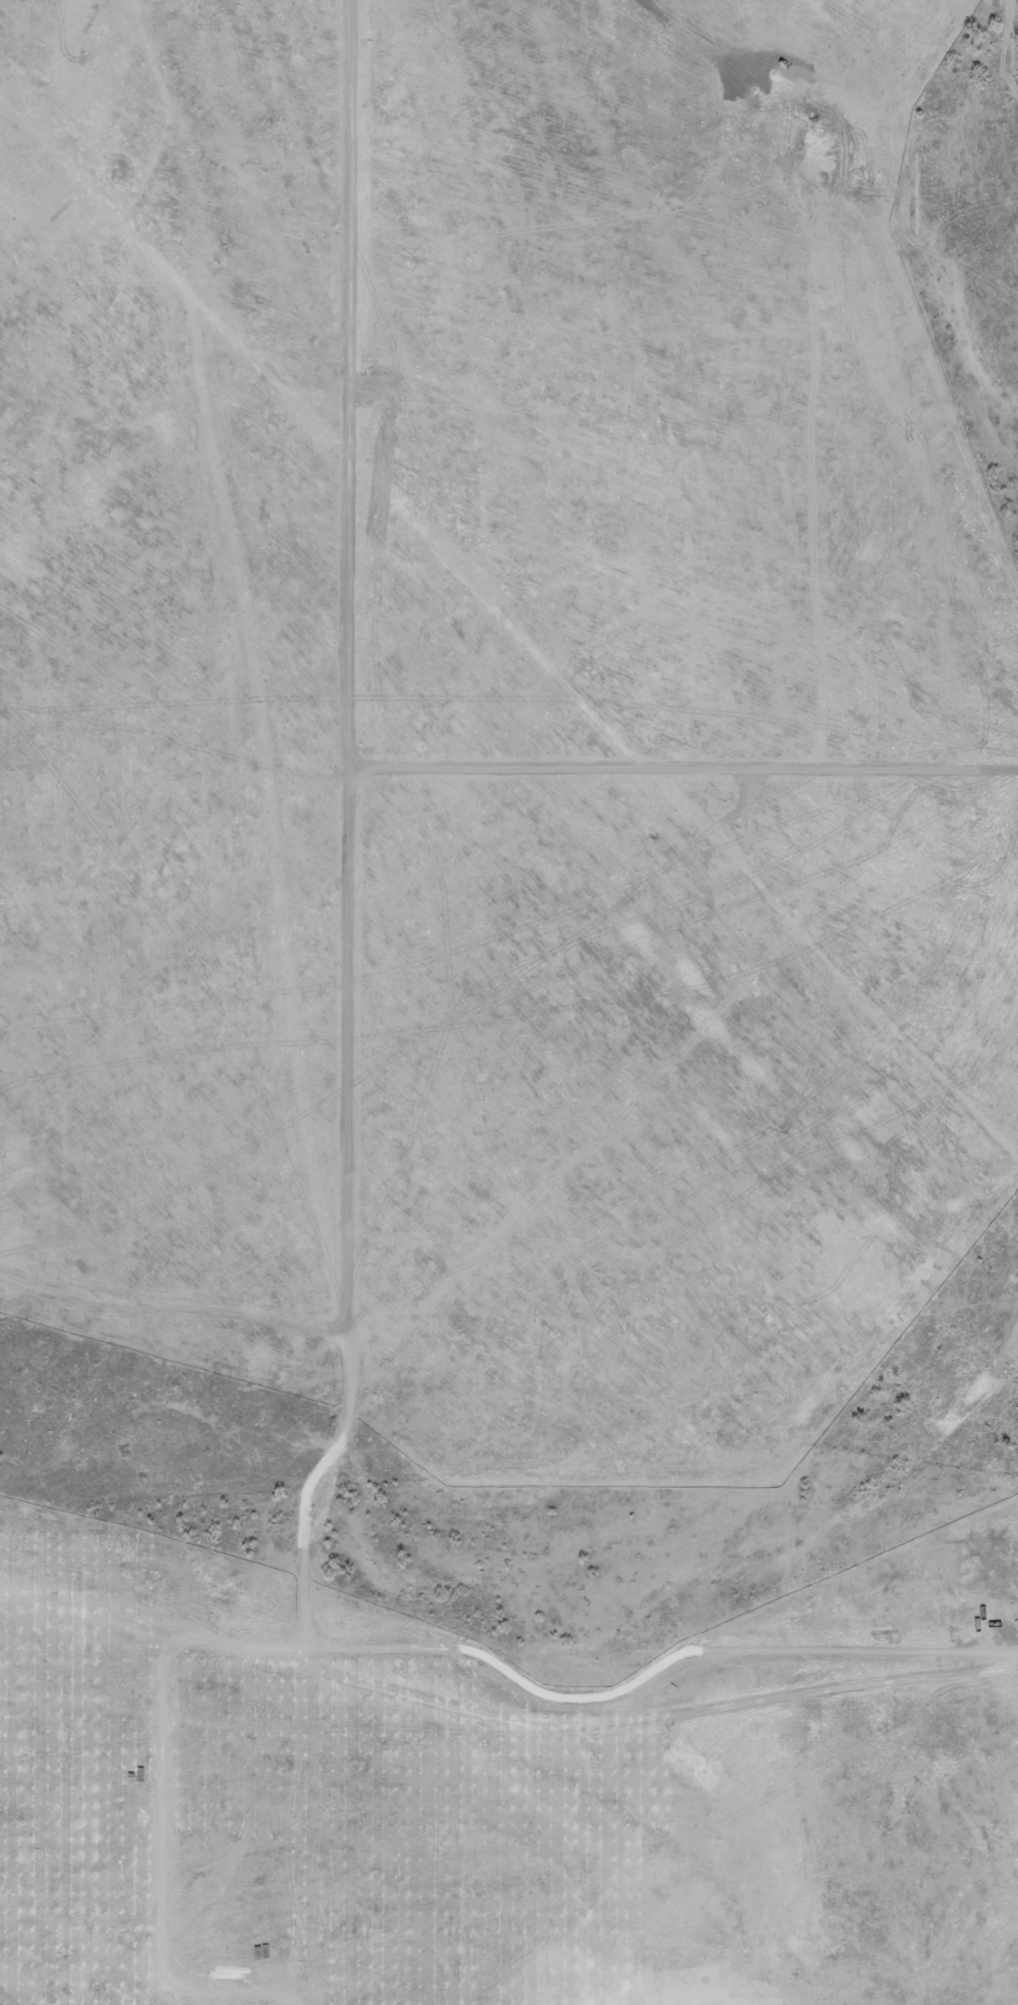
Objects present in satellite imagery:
road: (503, 1710)

